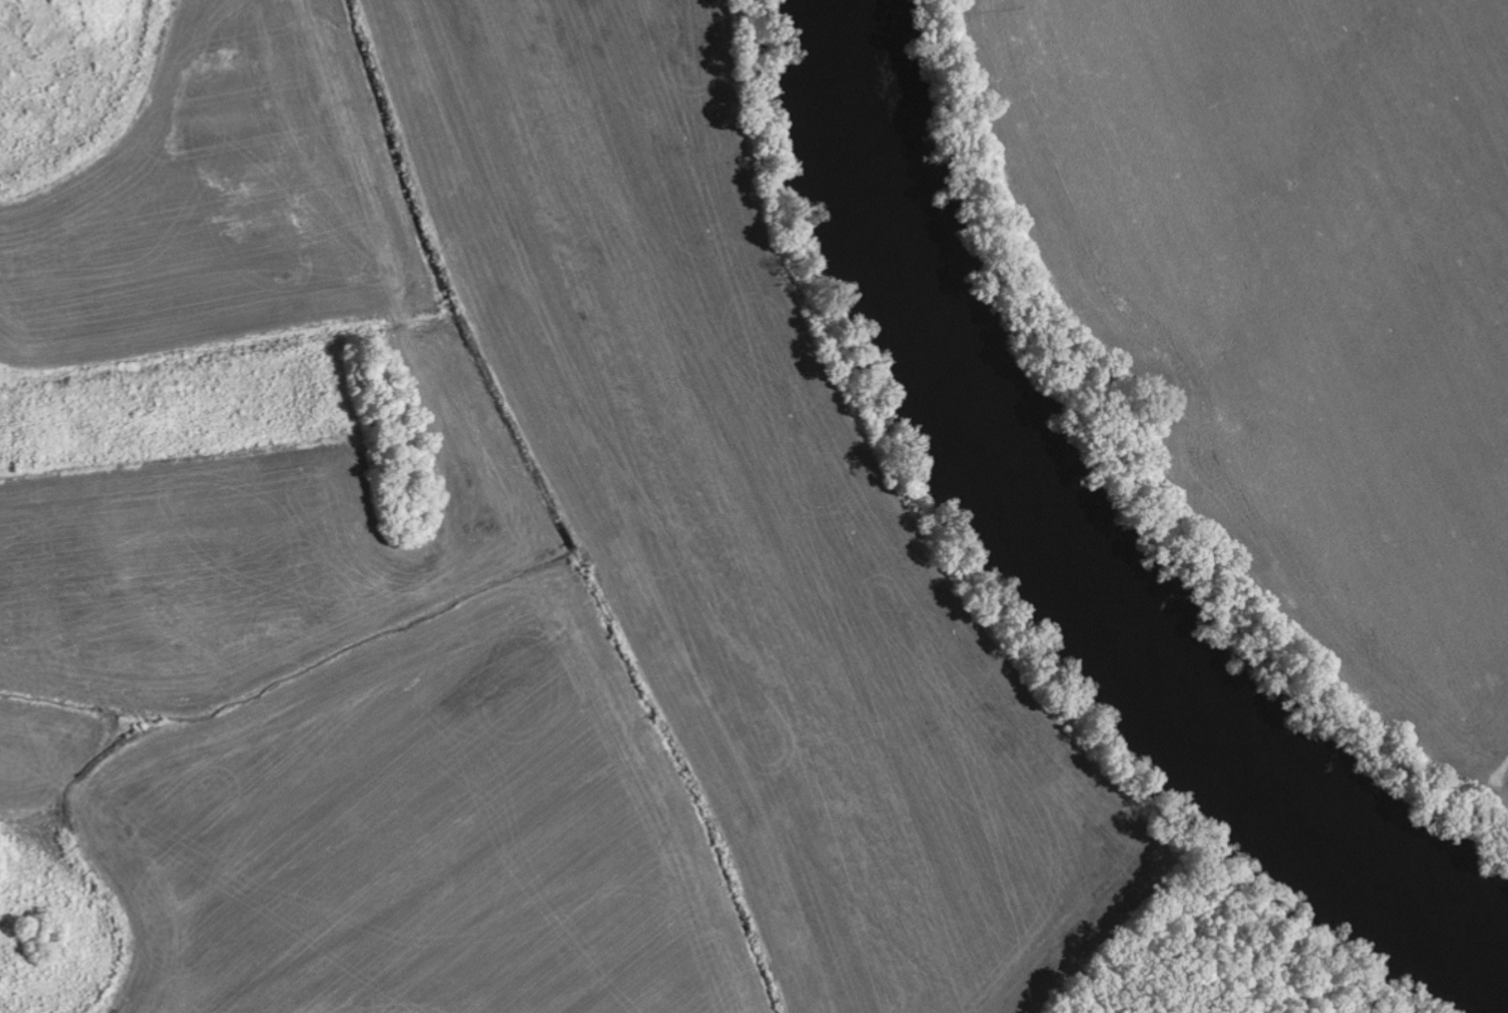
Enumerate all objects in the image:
river: (1055, 565)
road: (1501, 769)

